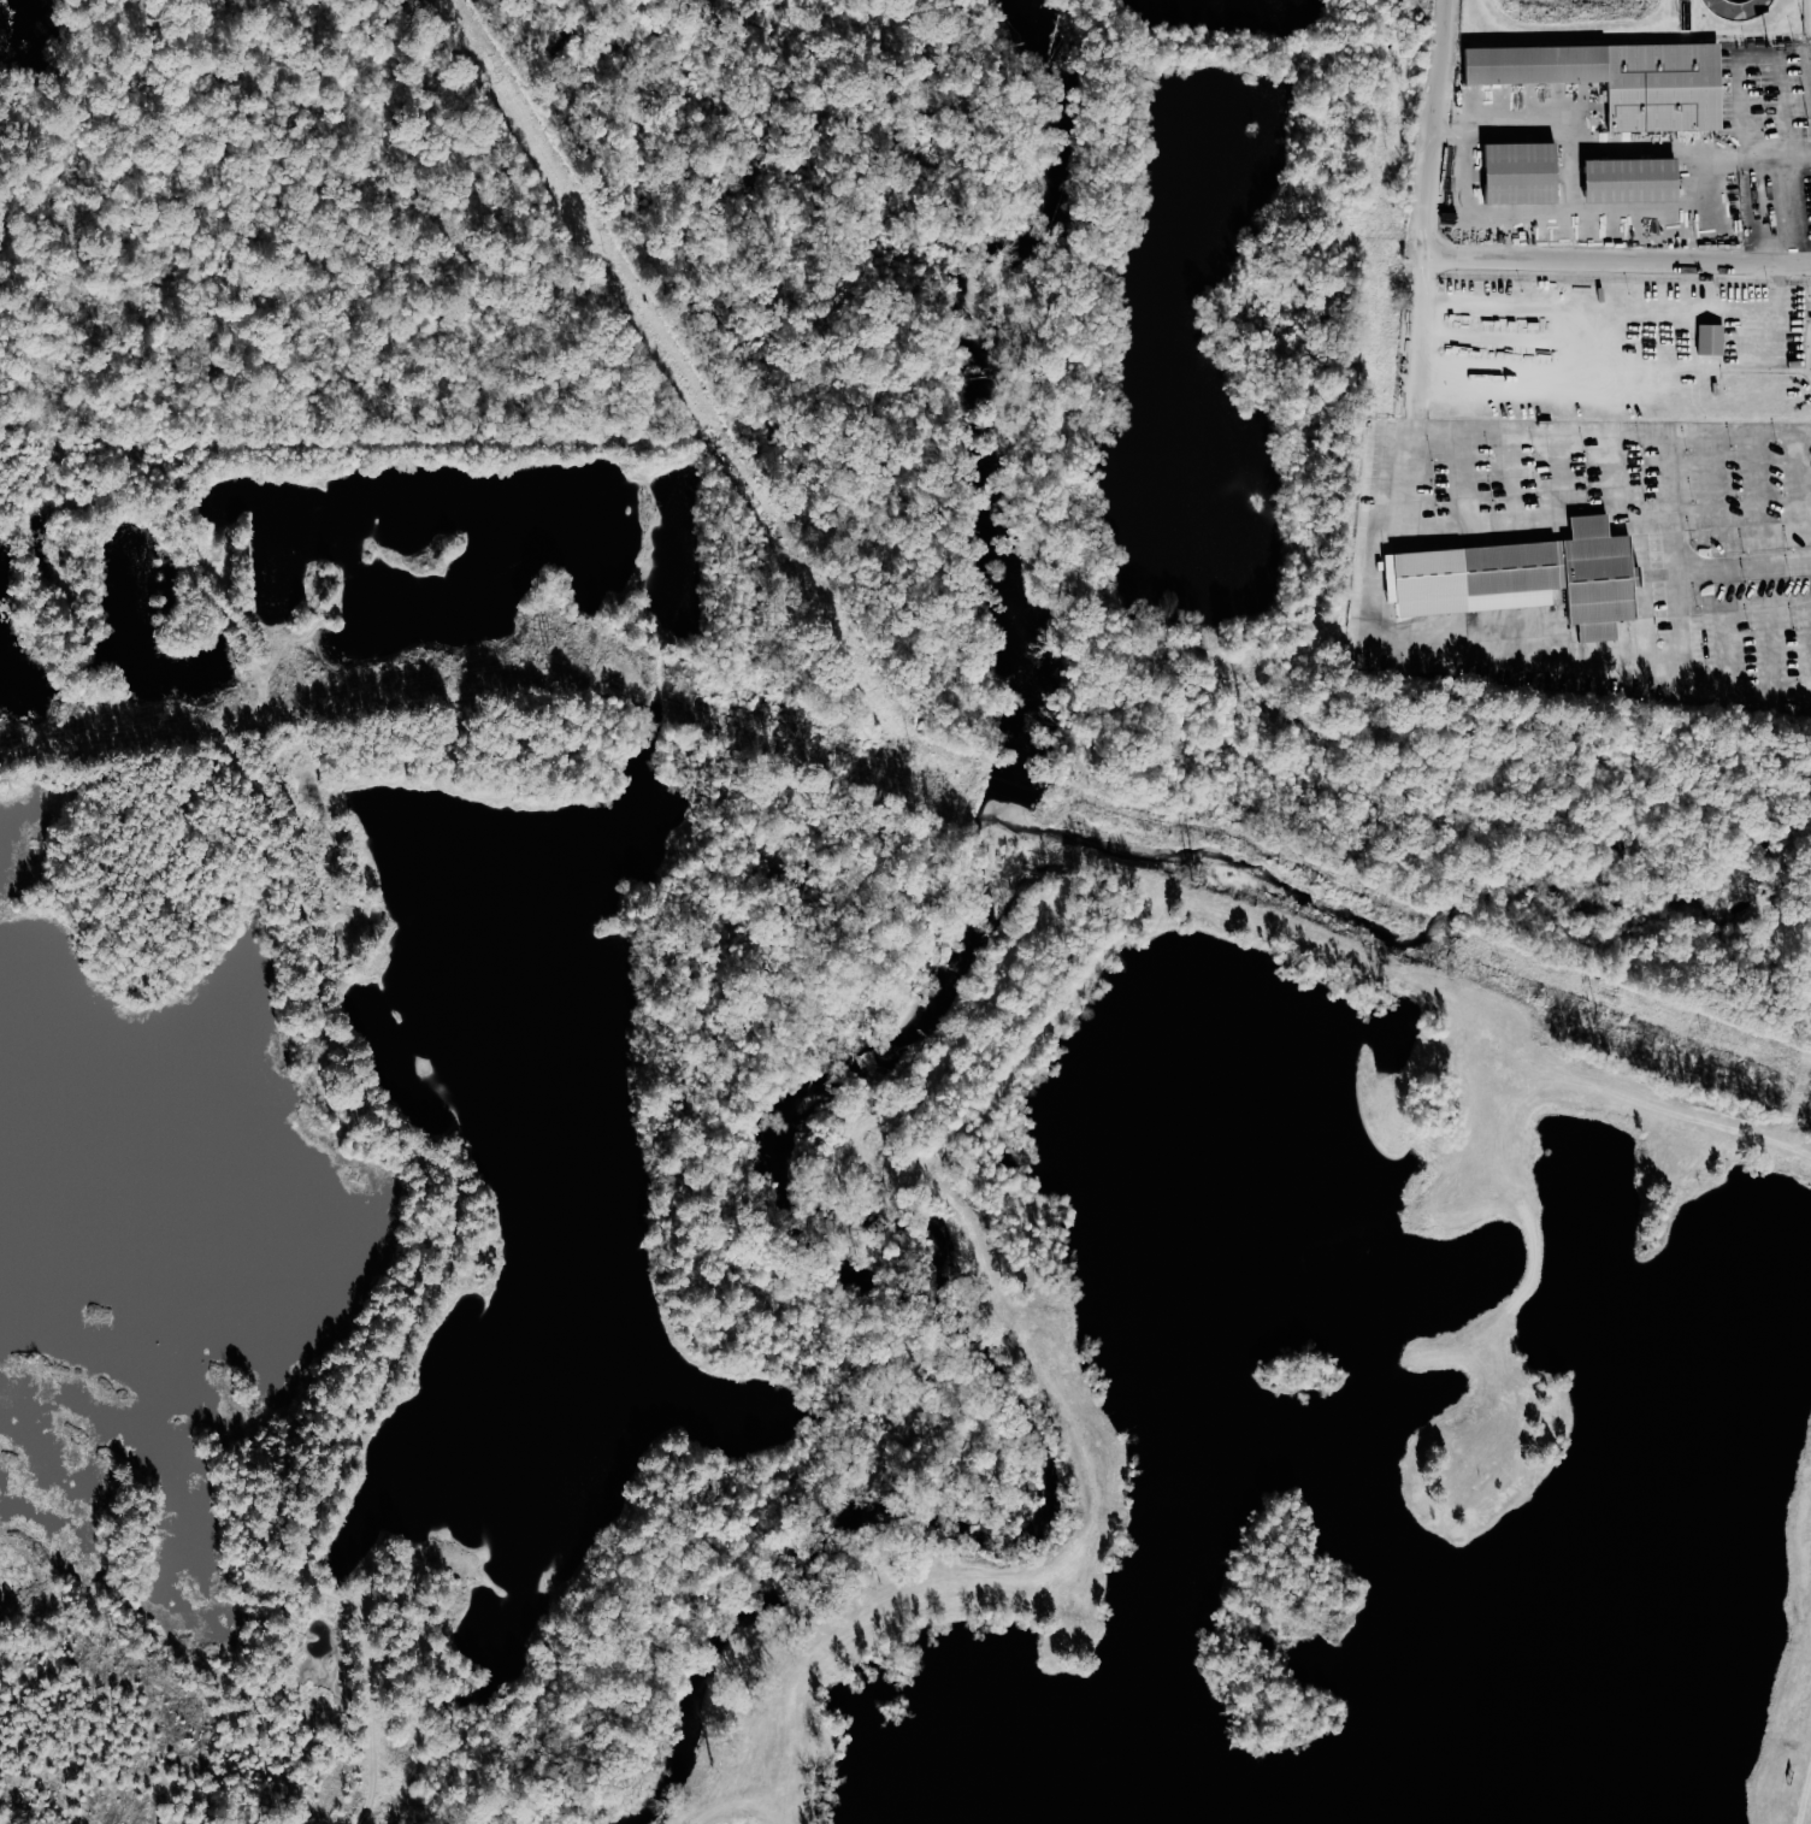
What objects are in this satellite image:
wastewater plant: (1628, 20)
building: (1632, 95)
road: (1592, 163)
building: (1533, 190)
building: (1646, 197)
road: (1623, 270)
building: (1713, 340)
road: (1394, 530)
road: (1746, 568)
building: (1546, 591)
power tower: (549, 643)
power tower: (116, 722)
power tower: (796, 737)
power tower: (1196, 878)
river: (899, 982)
power tower: (1597, 1019)

